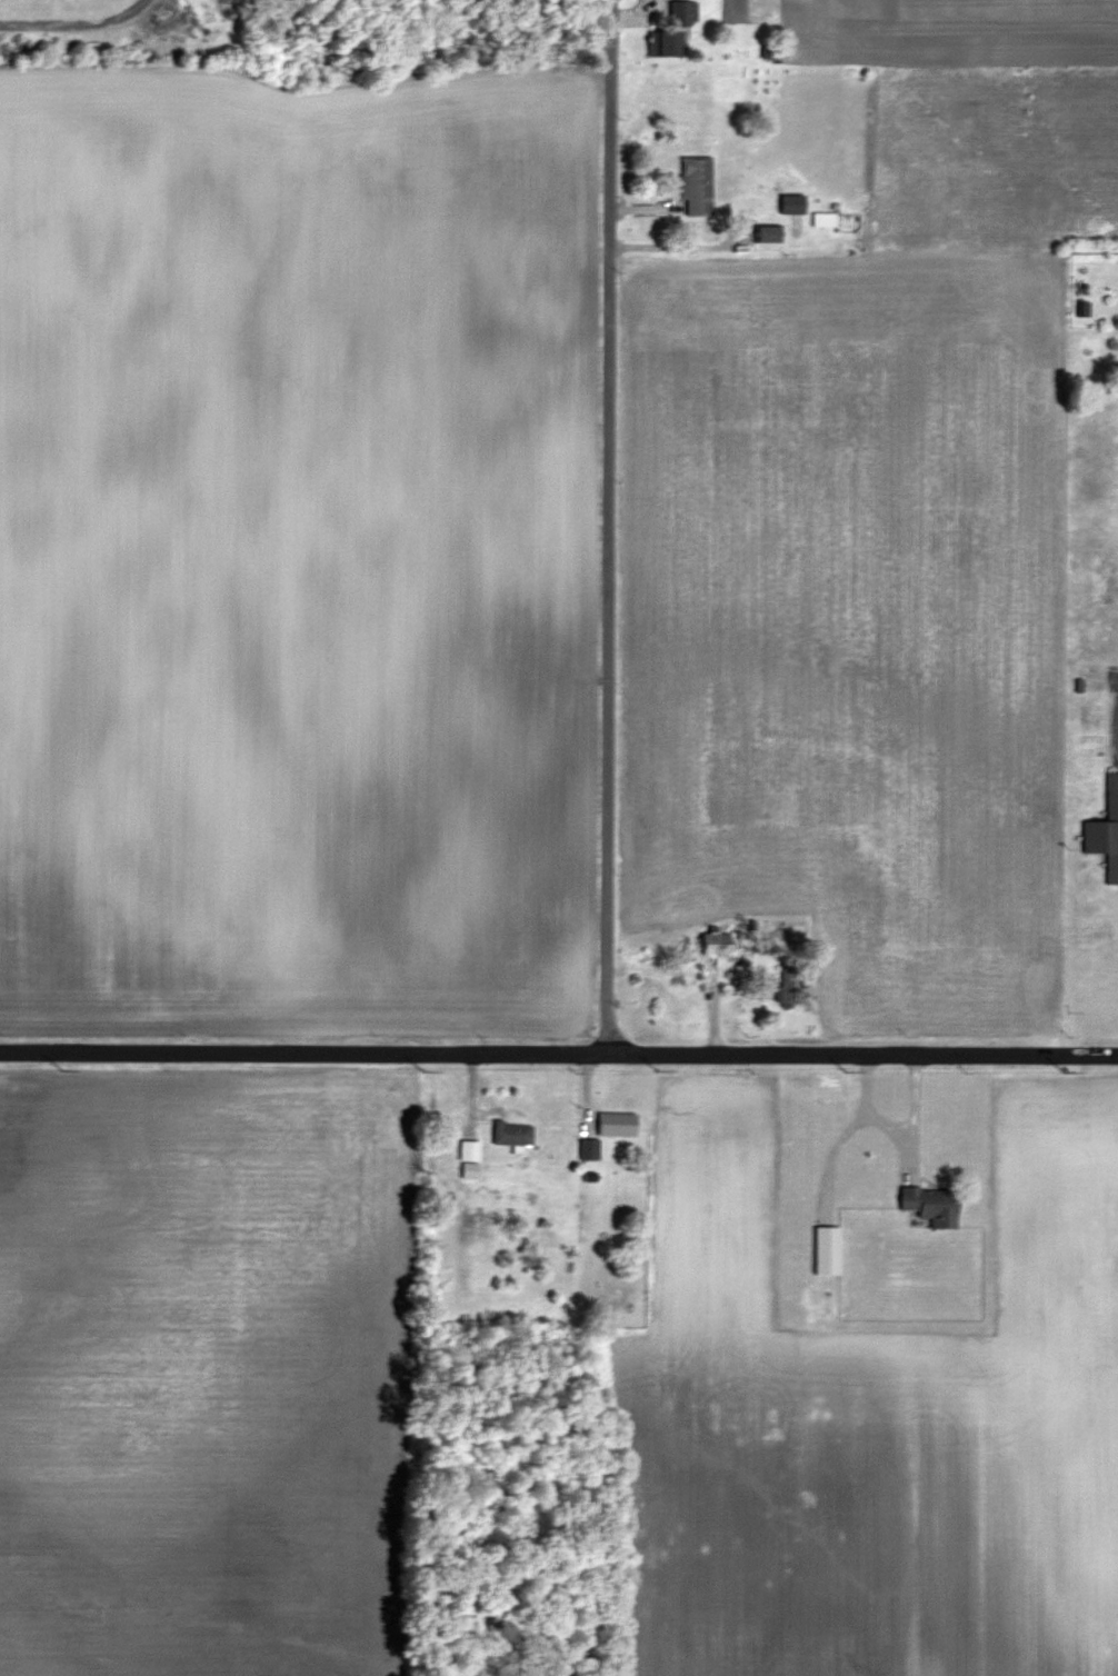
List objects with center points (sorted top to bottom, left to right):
building: (682, 13)
road: (77, 27)
building: (665, 43)
building: (696, 187)
building: (822, 219)
building: (767, 235)
building: (1081, 310)
road: (608, 527)
building: (1105, 830)
building: (716, 942)
building: (783, 986)
road: (558, 1054)
building: (617, 1124)
building: (512, 1134)
road: (890, 1135)
building: (588, 1149)
building: (469, 1151)
road: (905, 1154)
building: (931, 1205)
building: (826, 1250)

